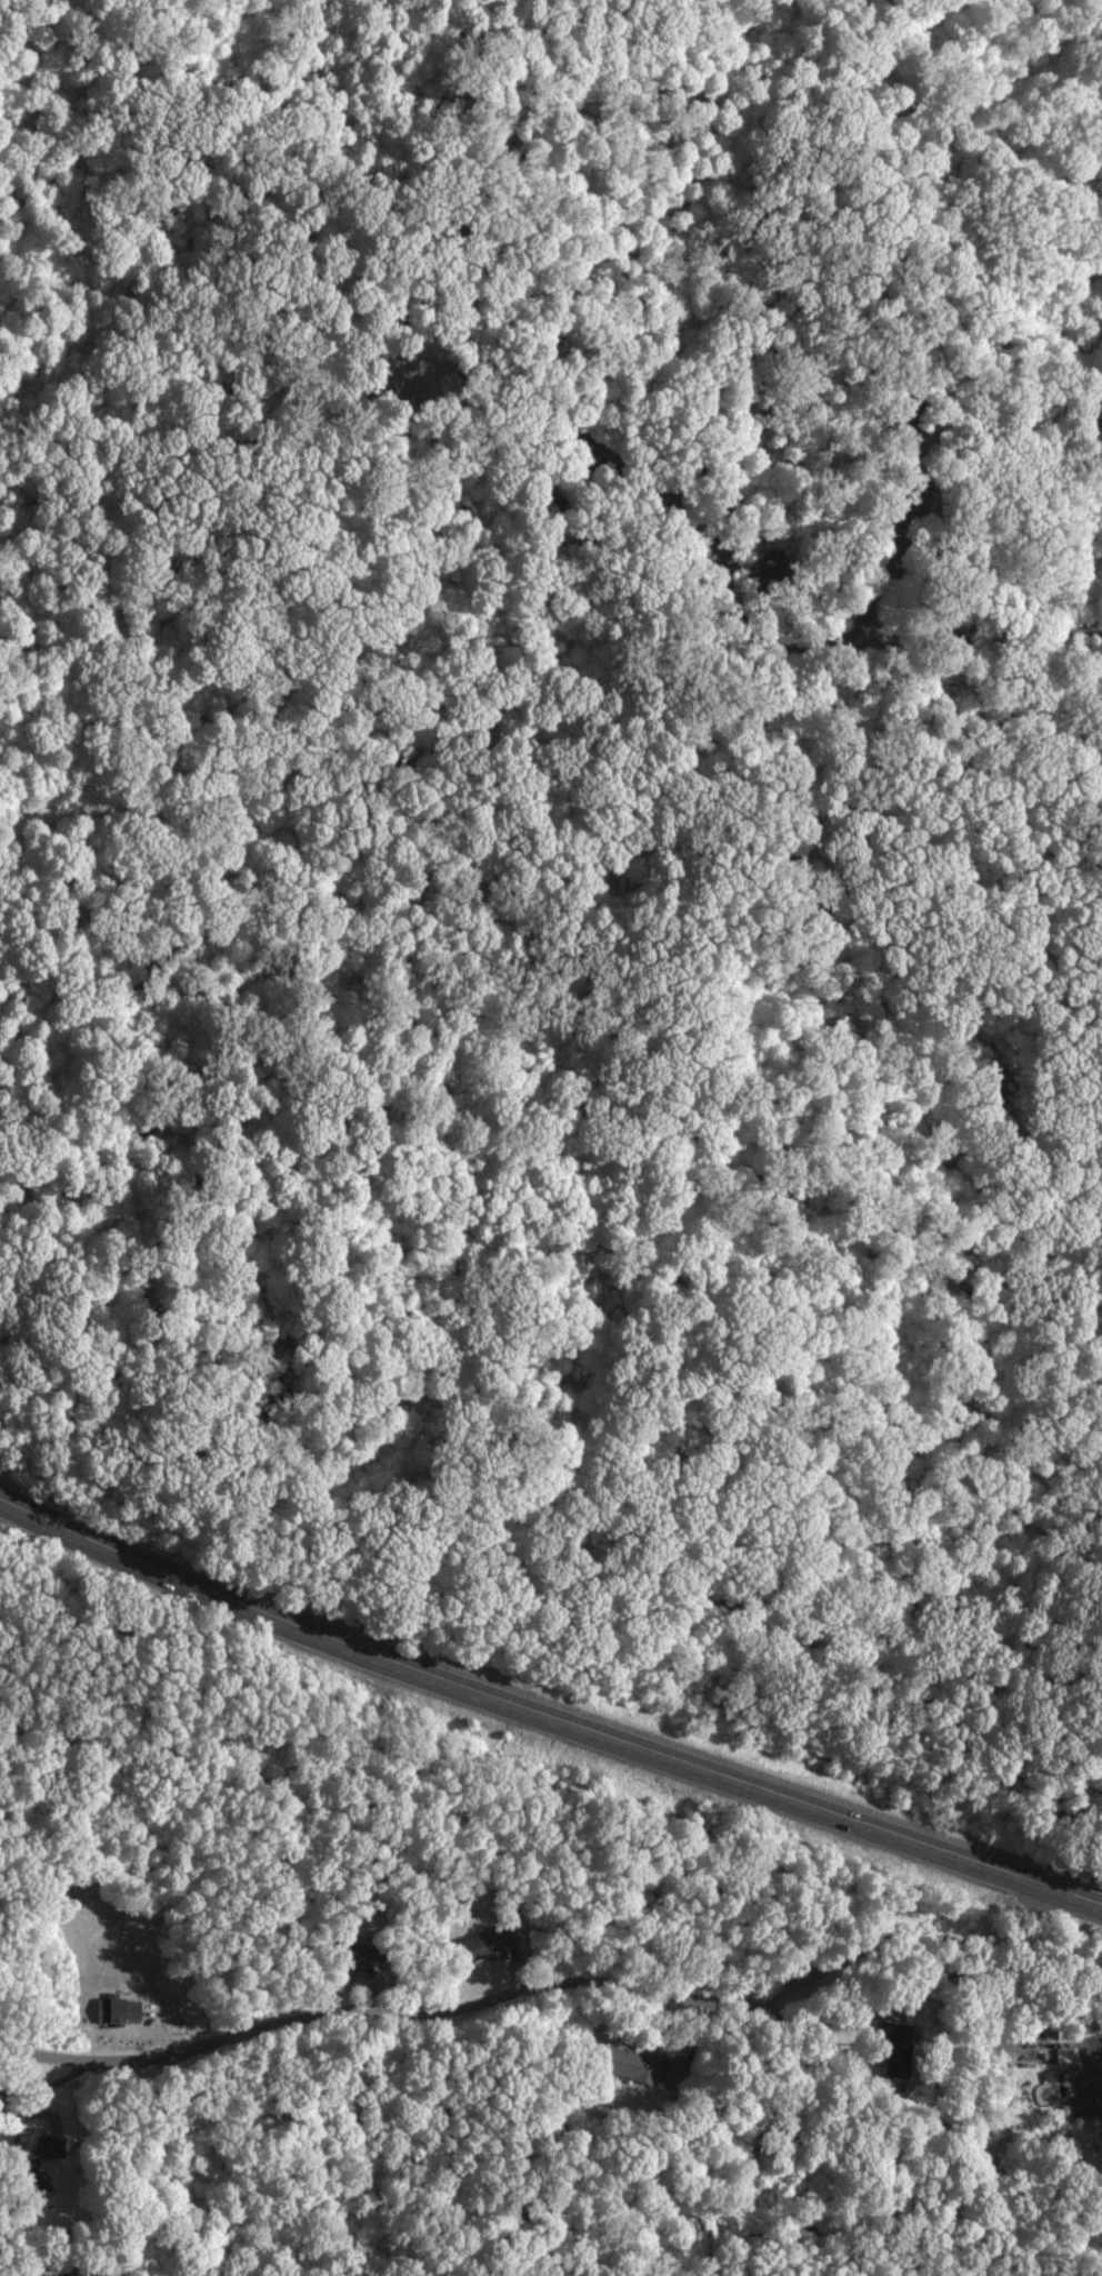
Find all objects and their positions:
road: (477, 98)
building: (485, 221)
building: (423, 224)
road: (462, 237)
building: (400, 278)
building: (499, 319)
building: (407, 332)
building: (595, 397)
building: (908, 415)
building: (647, 430)
building: (539, 447)
building: (691, 465)
building: (597, 496)
building: (733, 498)
building: (552, 501)
parking lot: (900, 526)
building: (680, 557)
road: (888, 559)
building: (777, 570)
road: (823, 581)
road: (740, 597)
road: (243, 1100)
road: (995, 1352)
road: (545, 1718)
building: (495, 1944)
road: (544, 1990)
building: (119, 2009)
building: (895, 2032)
road: (1100, 2048)
building: (630, 2063)
building: (896, 2066)
building: (1088, 2097)
building: (34, 2144)
building: (39, 2180)
building: (80, 2275)

